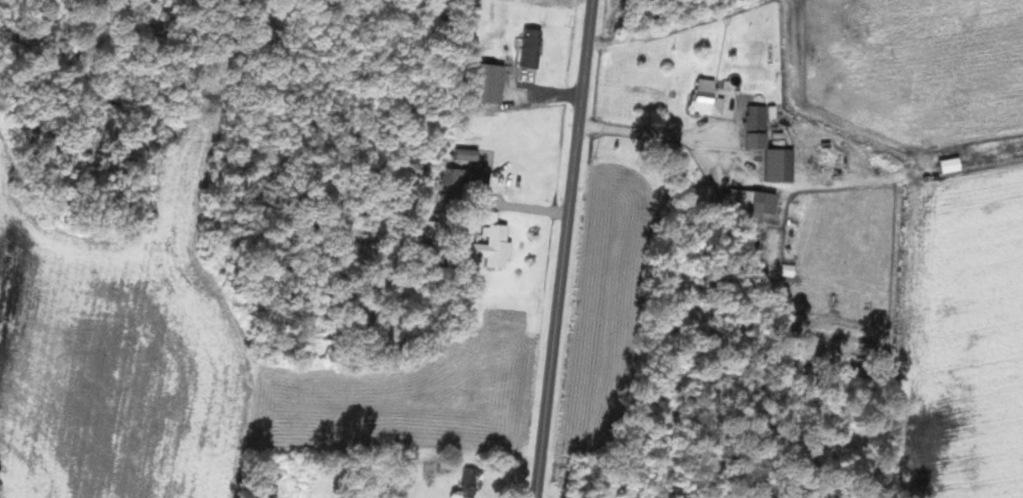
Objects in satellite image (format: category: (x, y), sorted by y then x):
building: (533, 48)
building: (493, 83)
building: (708, 97)
building: (758, 126)
building: (461, 176)
building: (758, 202)
building: (495, 245)
road: (571, 249)
building: (472, 482)

